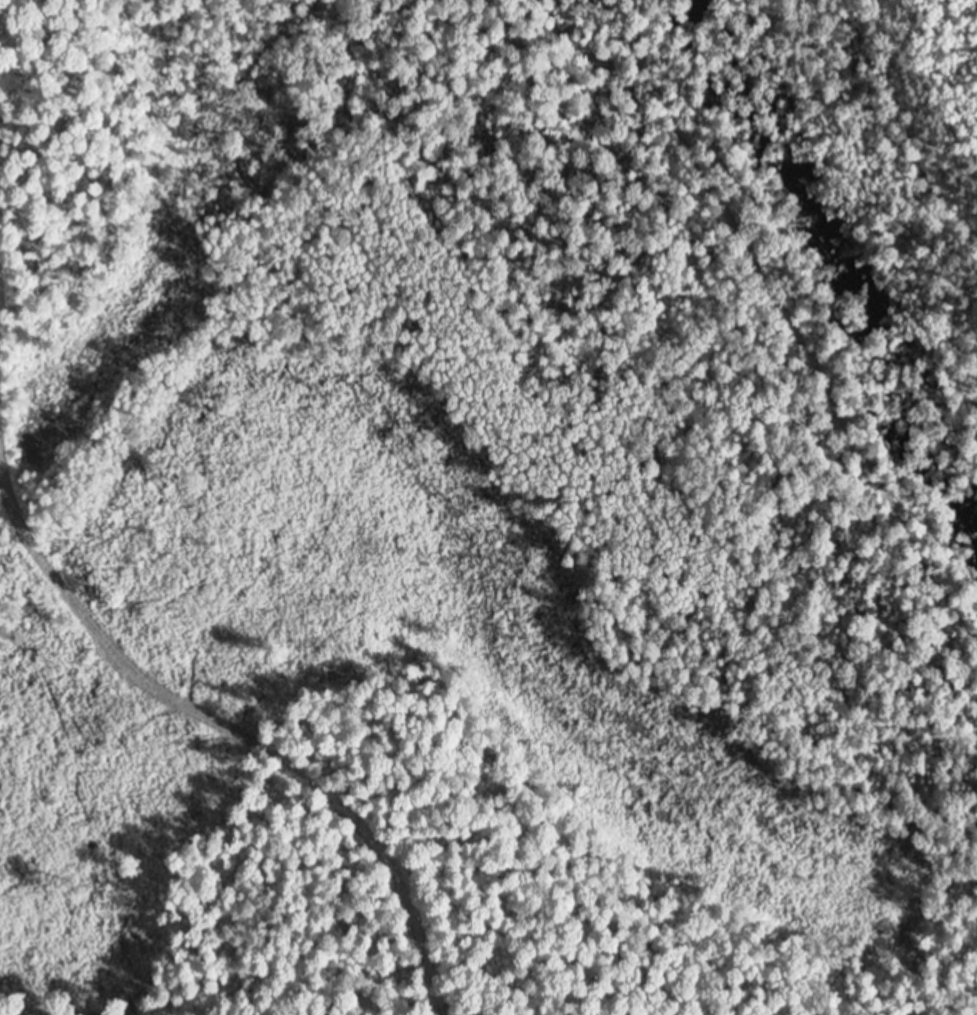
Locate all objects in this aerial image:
river: (837, 258)
road: (230, 737)

